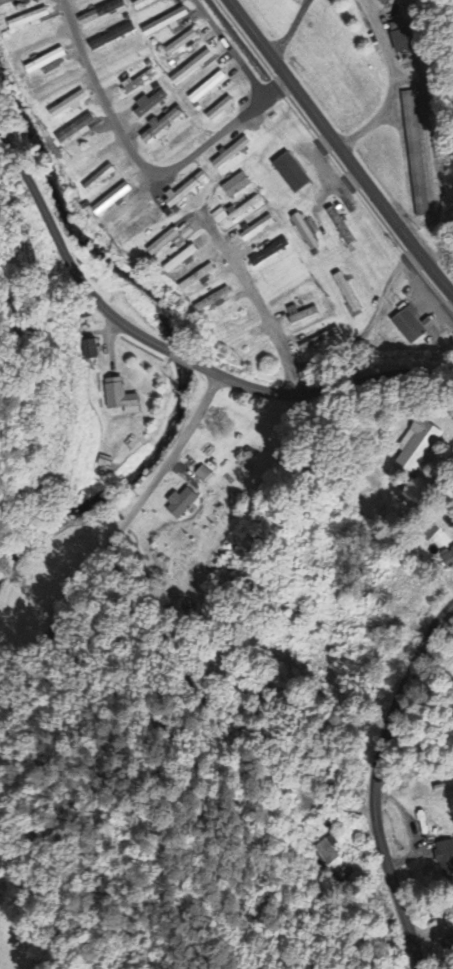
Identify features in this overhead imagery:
building: (8, 2)
building: (145, 4)
building: (103, 13)
building: (30, 20)
building: (168, 23)
building: (114, 37)
building: (183, 43)
road: (232, 49)
building: (141, 81)
building: (209, 89)
building: (151, 105)
building: (70, 106)
building: (222, 110)
building: (162, 126)
building: (78, 129)
road: (339, 148)
building: (233, 154)
road: (141, 162)
building: (294, 174)
building: (100, 179)
building: (238, 186)
building: (187, 190)
building: (114, 200)
building: (244, 209)
building: (221, 216)
building: (342, 227)
building: (259, 228)
building: (308, 232)
building: (165, 242)
building: (270, 253)
road: (66, 254)
building: (183, 260)
building: (349, 293)
building: (213, 301)
building: (301, 315)
building: (411, 327)
road: (361, 336)
building: (92, 350)
road: (181, 354)
road: (322, 390)
building: (122, 398)
building: (183, 504)
road: (120, 529)
building: (449, 558)
road: (10, 699)
road: (375, 781)
building: (328, 850)
building: (446, 856)

